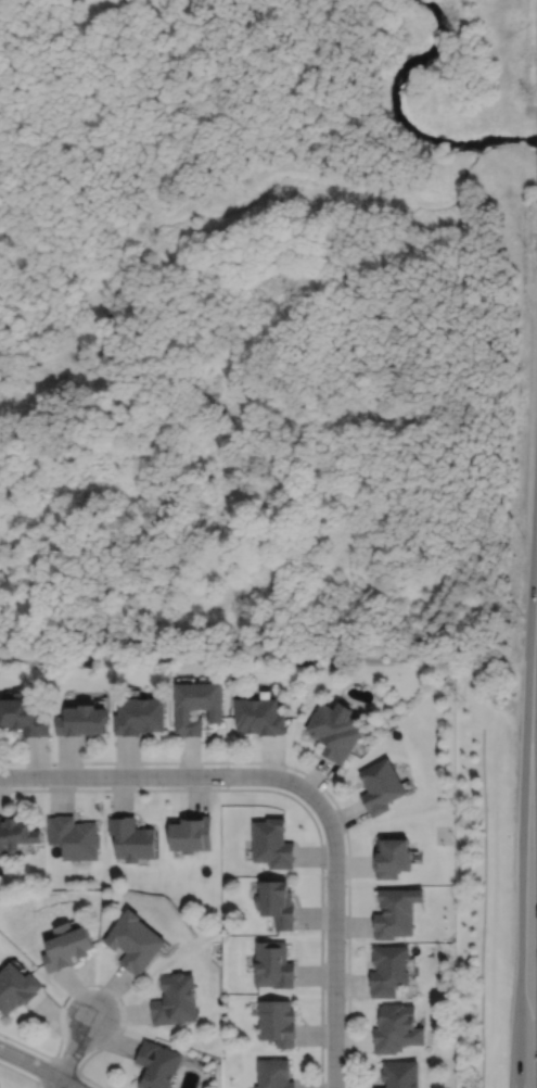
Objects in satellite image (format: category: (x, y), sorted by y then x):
road: (532, 691)
building: (195, 704)
building: (22, 714)
building: (138, 714)
building: (258, 714)
building: (80, 719)
building: (334, 731)
street lamp: (285, 769)
road: (162, 776)
road: (314, 780)
building: (381, 785)
street lamp: (43, 787)
street lamp: (162, 787)
road: (294, 799)
building: (15, 833)
building: (190, 833)
building: (72, 836)
building: (130, 838)
building: (271, 843)
building: (392, 856)
street lamp: (323, 871)
building: (276, 902)
road: (484, 906)
building: (396, 911)
road: (529, 939)
building: (133, 941)
road: (334, 942)
building: (65, 946)
building: (272, 964)
building: (388, 970)
road: (93, 985)
building: (16, 988)
building: (174, 1000)
street lamp: (345, 1000)
building: (277, 1022)
street lamp: (119, 1028)
building: (397, 1028)
road: (75, 1047)
road: (56, 1061)
building: (156, 1065)
road: (39, 1066)
building: (273, 1073)
road: (22, 1074)
building: (400, 1074)
road: (56, 1083)

